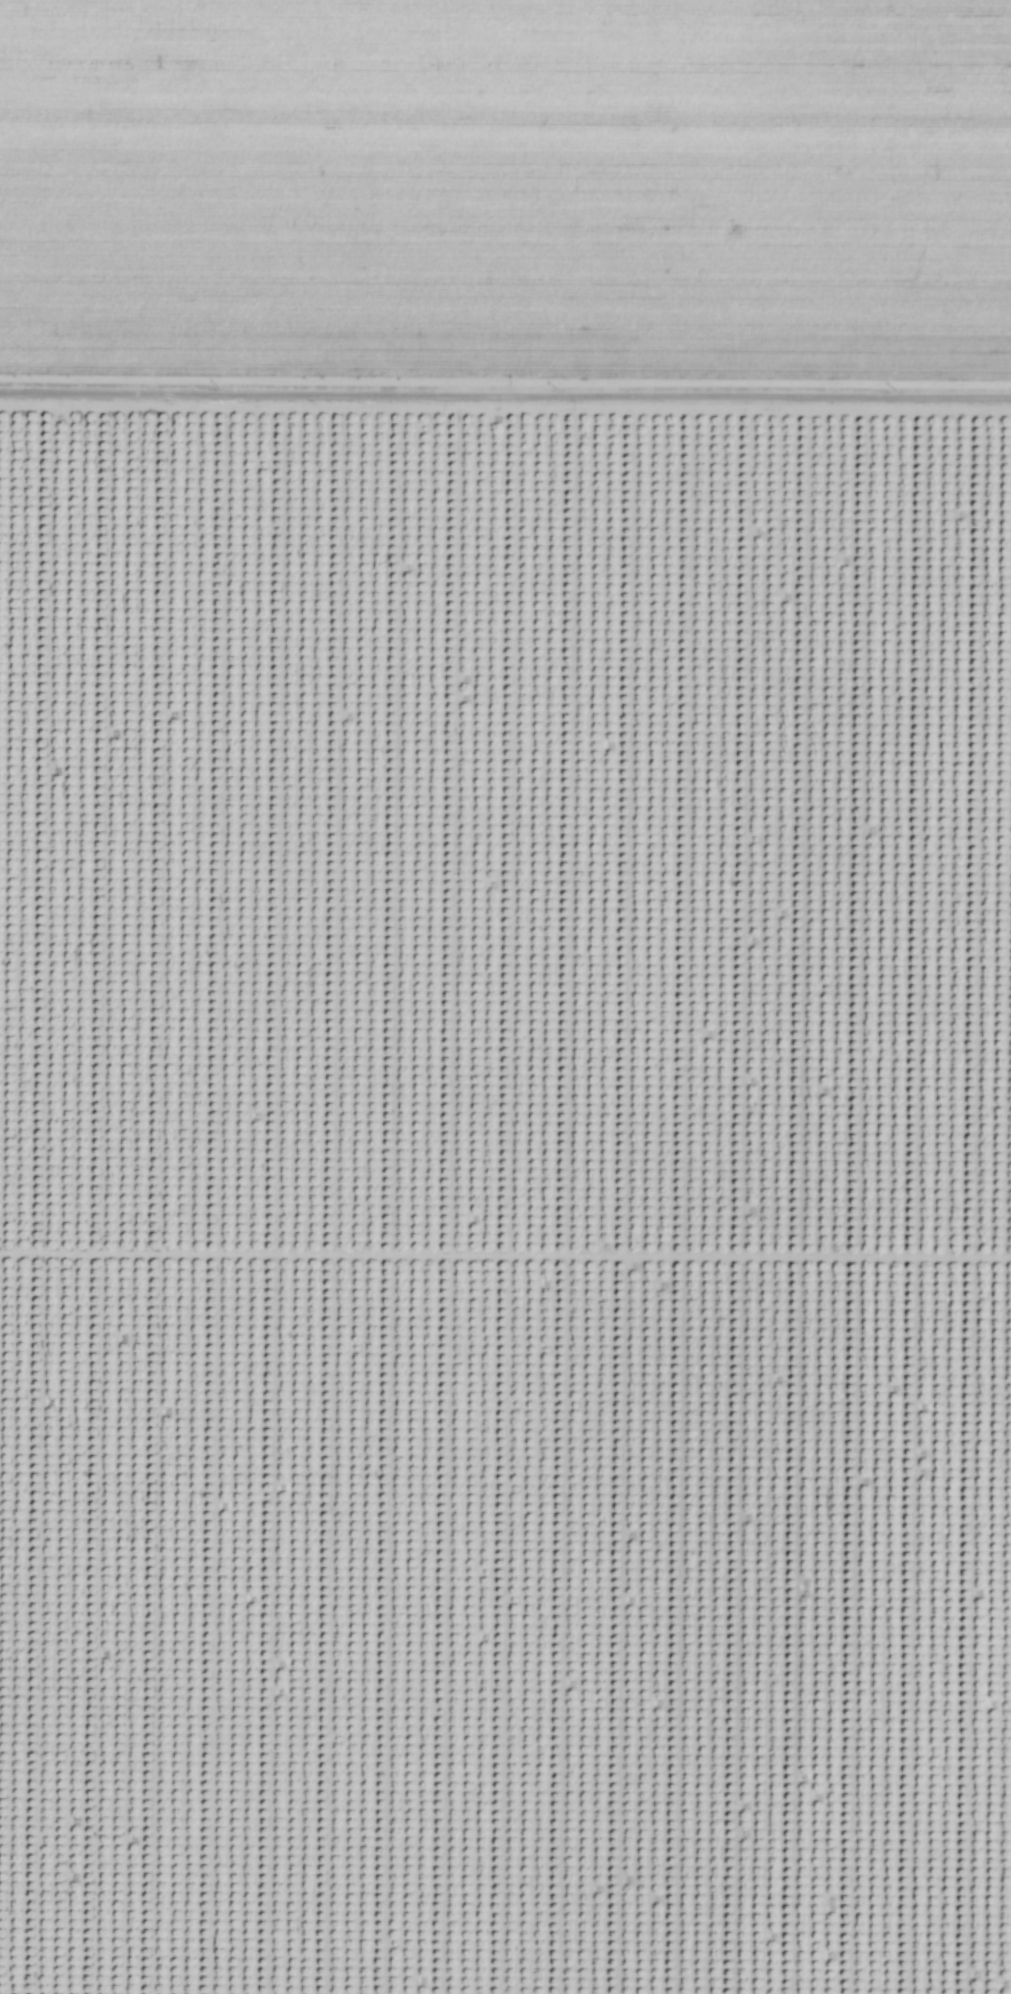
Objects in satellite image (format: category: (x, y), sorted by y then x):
crop: (506, 200)

